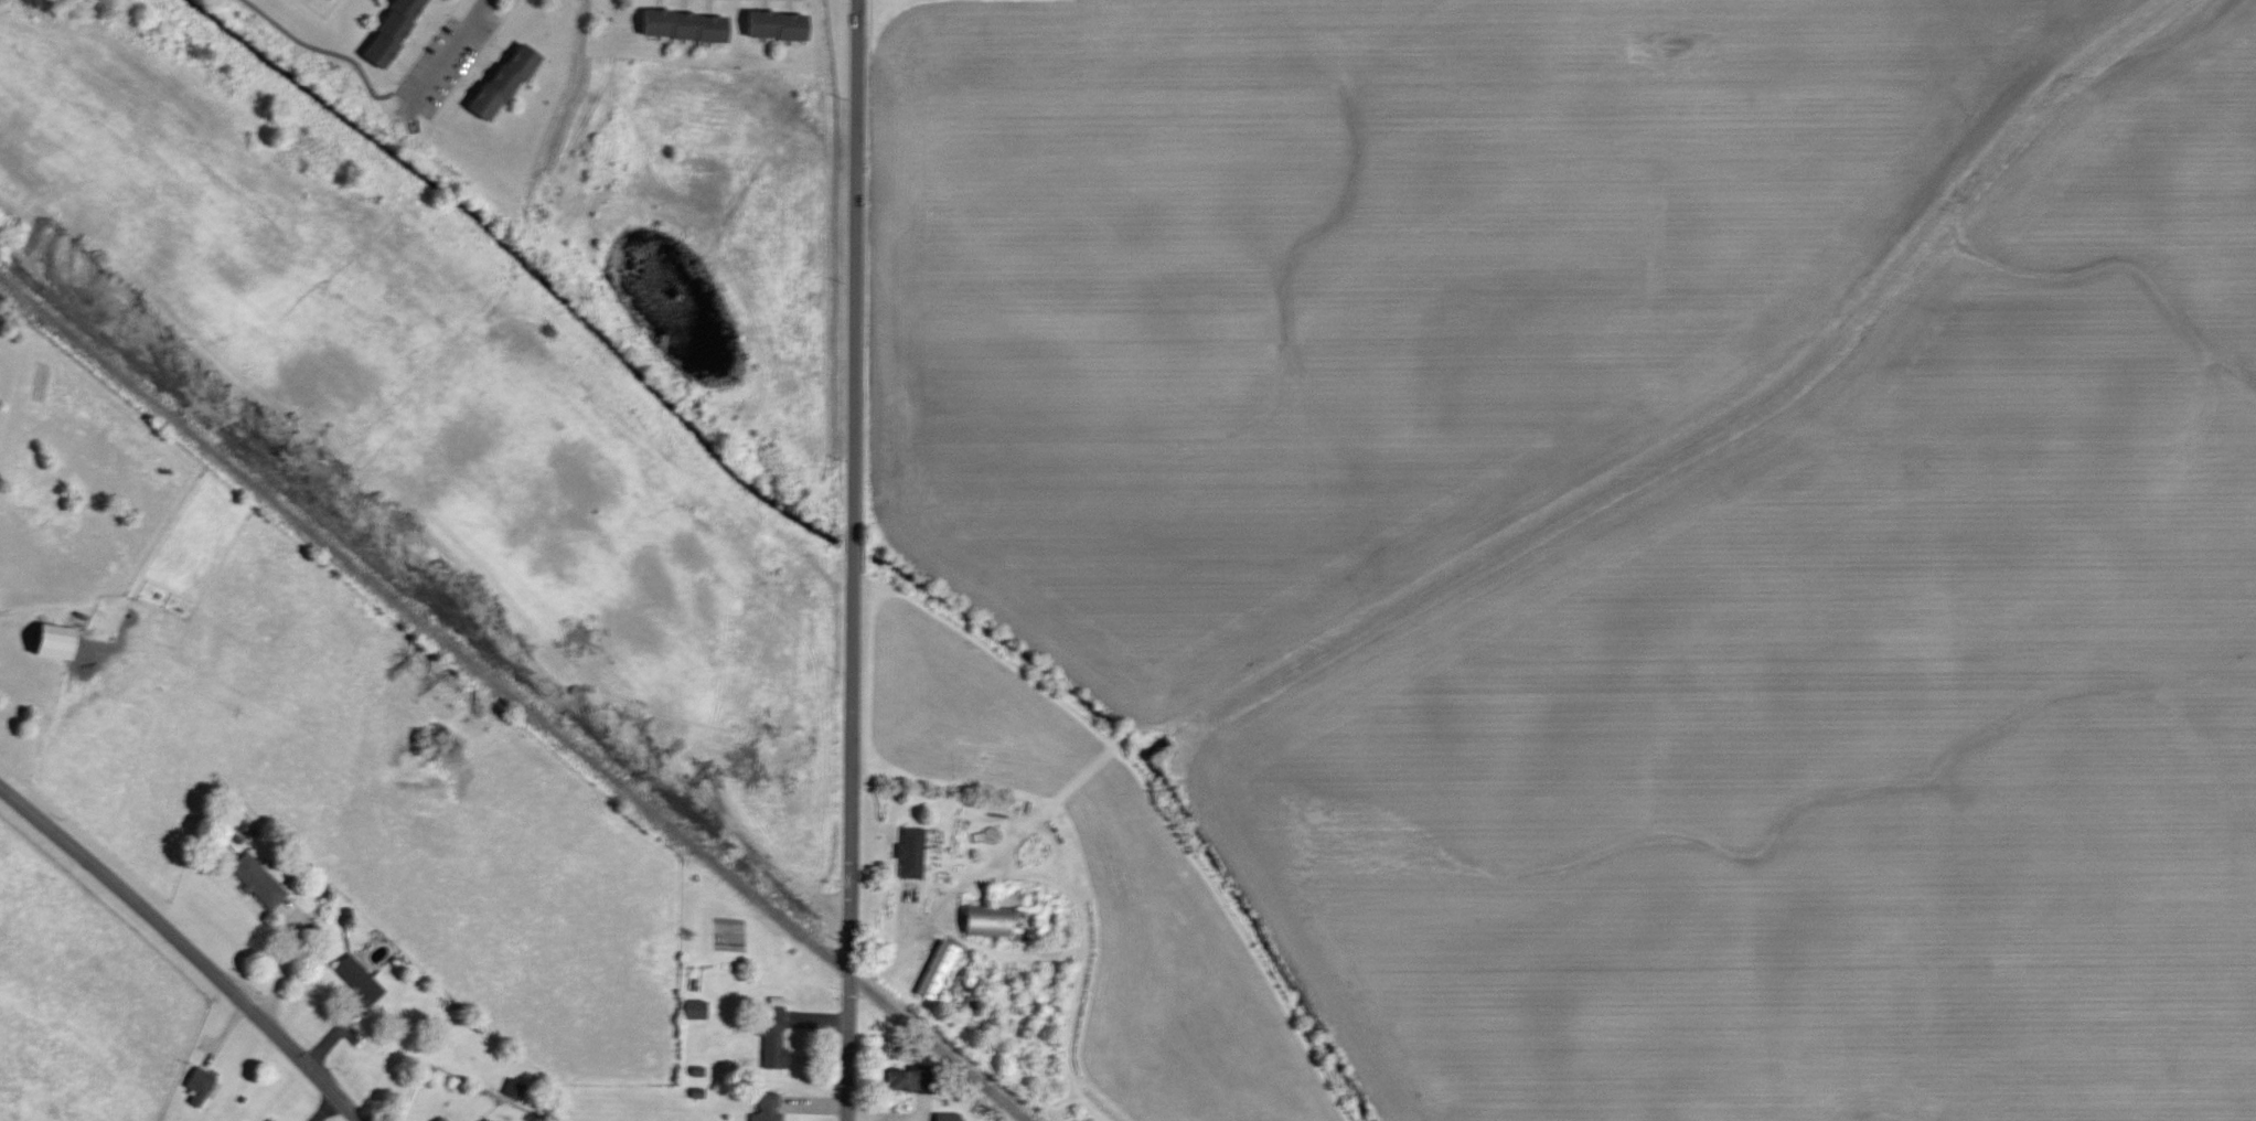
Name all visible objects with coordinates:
building: (776, 22)
building: (682, 26)
building: (389, 31)
road: (446, 50)
parking lot: (442, 54)
building: (503, 81)
road: (853, 560)
building: (49, 641)
railway: (515, 698)
building: (255, 882)
building: (982, 921)
road: (897, 946)
road: (184, 948)
building: (934, 971)
building: (359, 979)
building: (692, 1010)
building: (897, 1080)
building: (196, 1087)
building: (511, 1088)
building: (765, 1108)
building: (944, 1117)
building: (440, 1120)

